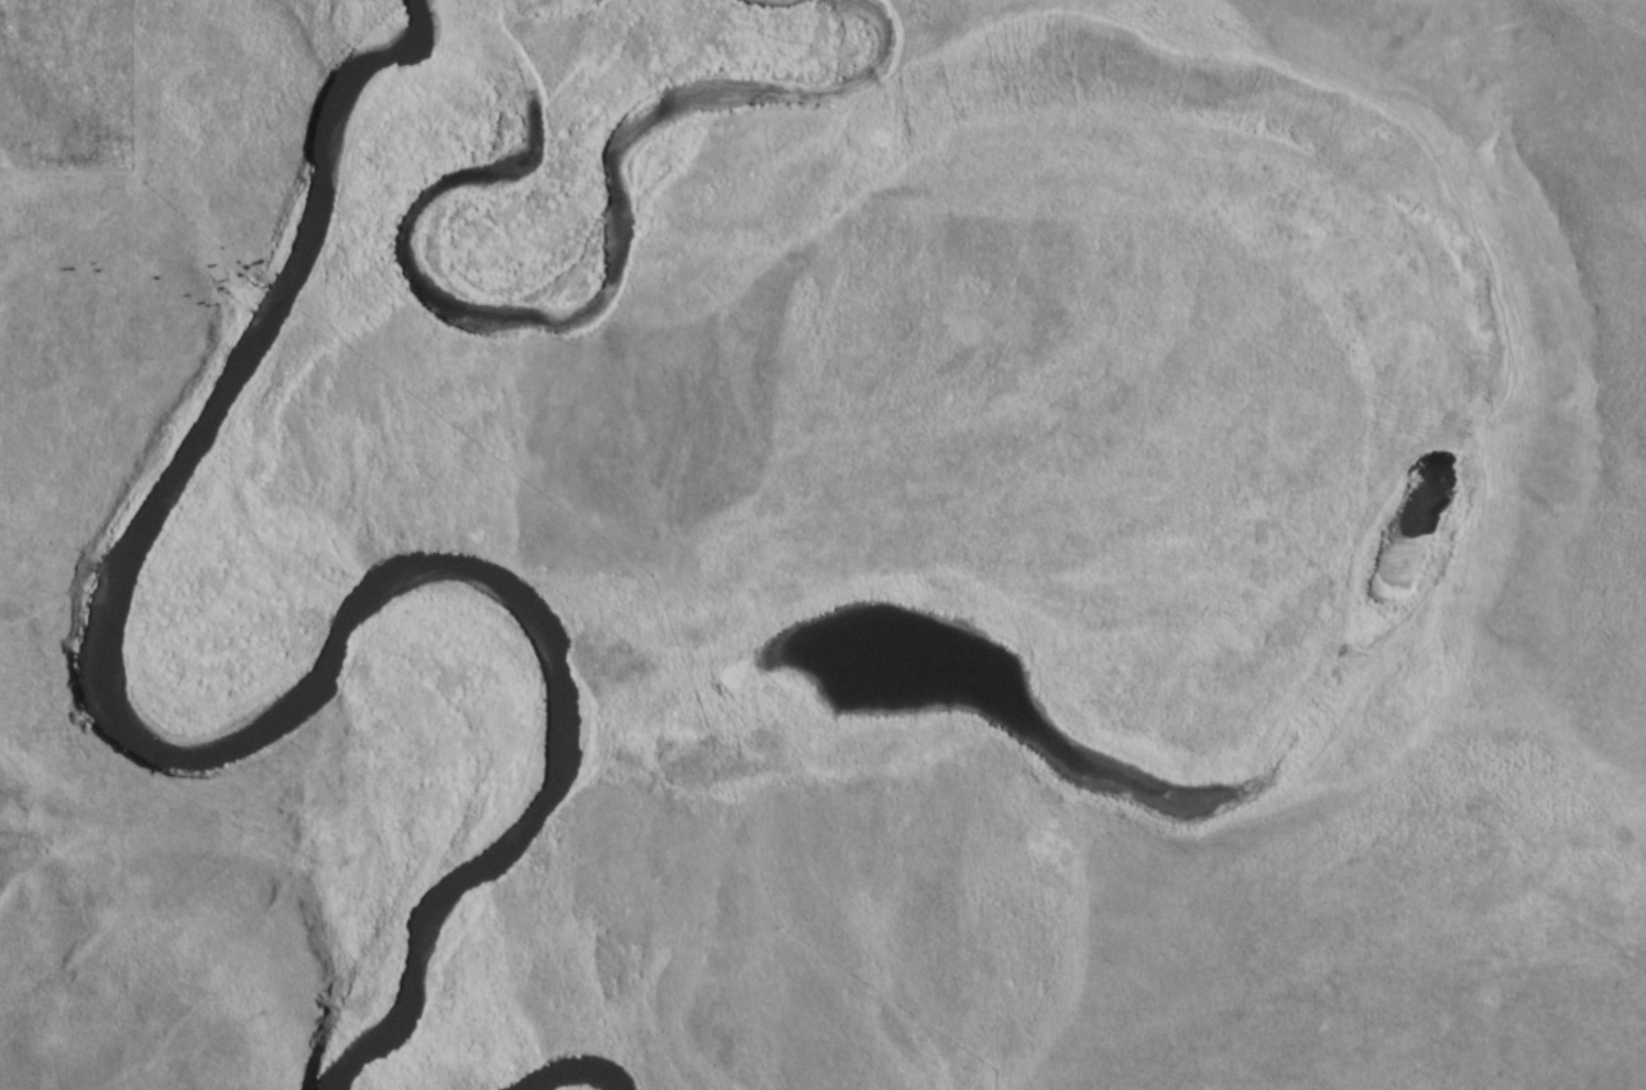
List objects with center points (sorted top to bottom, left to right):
building: (215, 411)
river: (216, 726)
river: (574, 1086)

